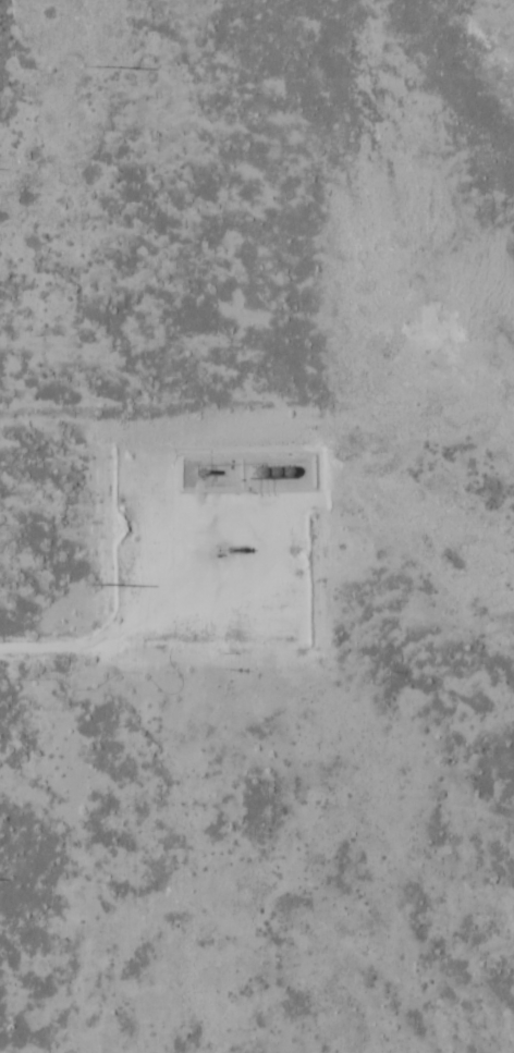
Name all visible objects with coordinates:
power tower: (87, 68)
petroleum well: (233, 551)
power tower: (85, 583)

